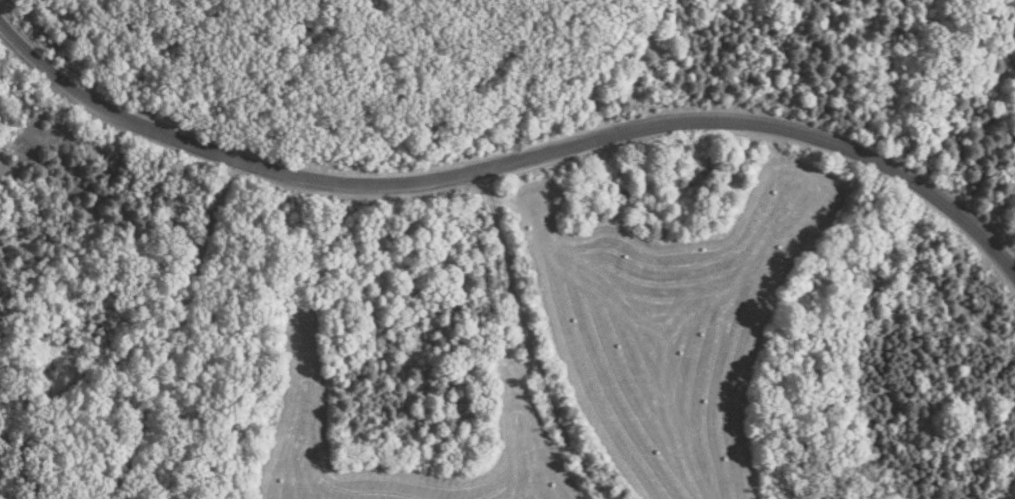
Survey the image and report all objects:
road: (510, 163)
road: (173, 332)
road: (530, 340)

